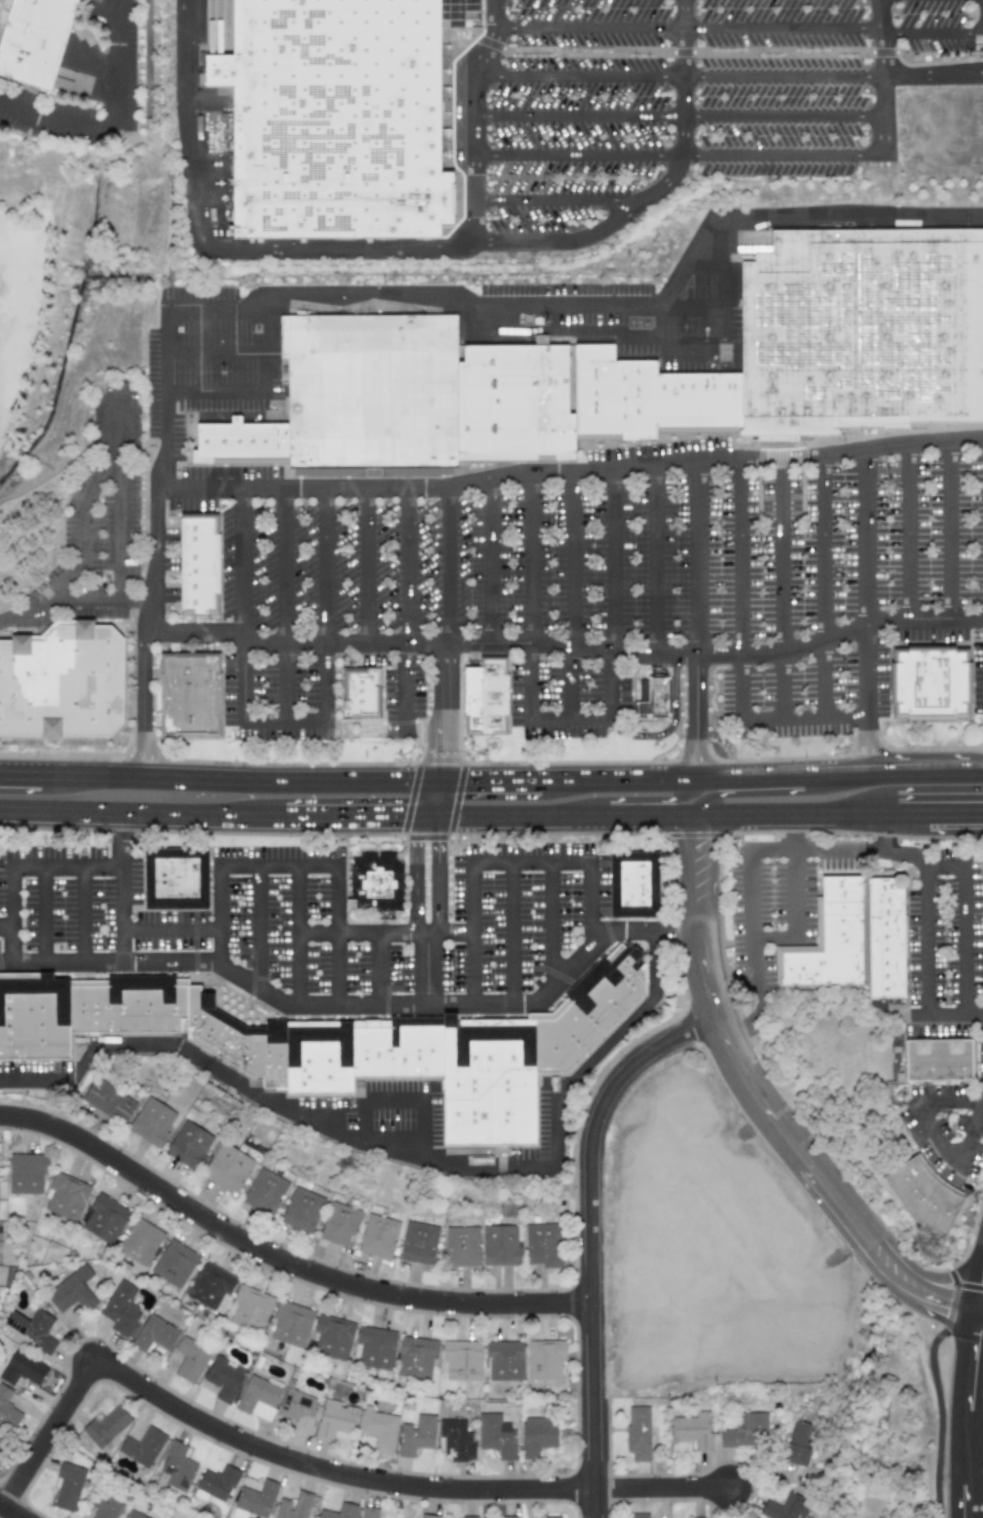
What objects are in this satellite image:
road: (591, 29)
road: (784, 29)
road: (947, 30)
building: (41, 44)
road: (114, 65)
road: (147, 65)
road: (934, 76)
road: (885, 77)
road: (681, 78)
road: (681, 117)
building: (338, 119)
road: (476, 119)
road: (51, 122)
road: (680, 155)
road: (659, 190)
road: (559, 201)
road: (170, 232)
road: (217, 249)
road: (727, 266)
road: (608, 307)
building: (861, 329)
road: (168, 332)
road: (541, 332)
road: (711, 349)
road: (218, 352)
road: (227, 392)
building: (372, 392)
building: (648, 397)
building: (515, 400)
road: (110, 433)
building: (244, 440)
road: (571, 474)
road: (83, 526)
road: (951, 528)
road: (910, 529)
road: (123, 534)
road: (868, 538)
road: (656, 560)
road: (492, 561)
building: (196, 564)
road: (450, 565)
road: (369, 566)
road: (824, 584)
road: (784, 586)
road: (533, 596)
road: (574, 596)
road: (72, 599)
road: (286, 604)
road: (244, 605)
road: (149, 608)
road: (409, 612)
road: (698, 615)
road: (615, 635)
road: (566, 644)
road: (327, 646)
road: (743, 652)
building: (62, 684)
building: (931, 684)
building: (360, 694)
building: (189, 696)
building: (490, 696)
building: (660, 697)
road: (868, 699)
road: (446, 705)
road: (673, 726)
road: (418, 729)
traffic signals: (444, 751)
road: (21, 761)
road: (241, 767)
traffic signals: (476, 768)
road: (491, 768)
road: (705, 768)
road: (918, 773)
road: (975, 773)
road: (761, 793)
road: (433, 799)
road: (635, 802)
road: (933, 827)
road: (981, 827)
road: (981, 827)
road: (132, 829)
road: (656, 829)
road: (346, 831)
traffic signals: (401, 831)
traffic signals: (438, 848)
road: (532, 861)
road: (68, 865)
road: (230, 866)
building: (178, 878)
road: (416, 881)
road: (437, 881)
building: (379, 883)
road: (796, 883)
building: (638, 884)
road: (123, 895)
road: (751, 896)
road: (82, 913)
road: (12, 914)
road: (45, 914)
road: (337, 916)
road: (551, 924)
road: (256, 926)
road: (6, 928)
road: (471, 930)
road: (647, 930)
road: (171, 931)
road: (384, 931)
road: (511, 931)
road: (298, 933)
road: (774, 938)
building: (891, 938)
building: (833, 940)
road: (377, 966)
road: (427, 966)
road: (965, 987)
road: (344, 1002)
building: (592, 1011)
road: (974, 1018)
building: (215, 1032)
building: (942, 1060)
building: (491, 1083)
road: (402, 1097)
road: (982, 1098)
building: (108, 1101)
road: (769, 1111)
building: (151, 1121)
road: (935, 1135)
building: (188, 1144)
road: (394, 1151)
building: (227, 1168)
building: (26, 1172)
building: (264, 1192)
building: (65, 1196)
building: (929, 1196)
building: (301, 1210)
building: (104, 1218)
building: (339, 1224)
road: (979, 1235)
building: (378, 1236)
road: (590, 1236)
building: (138, 1241)
building: (418, 1243)
building: (542, 1244)
building: (499, 1245)
building: (461, 1246)
road: (280, 1258)
building: (173, 1263)
road: (937, 1273)
road: (968, 1279)
traffic signals: (968, 1279)
building: (209, 1285)
building: (72, 1290)
traffic signals: (944, 1303)
building: (120, 1308)
building: (248, 1308)
road: (981, 1308)
road: (981, 1311)
building: (290, 1324)
building: (31, 1328)
building: (154, 1334)
building: (332, 1337)
building: (374, 1347)
building: (415, 1357)
building: (190, 1359)
building: (543, 1359)
building: (461, 1360)
building: (503, 1360)
building: (21, 1369)
building: (223, 1378)
building: (258, 1397)
building: (297, 1409)
building: (7, 1410)
road: (970, 1414)
building: (334, 1419)
building: (106, 1426)
building: (378, 1428)
building: (692, 1430)
building: (745, 1431)
building: (637, 1432)
building: (416, 1434)
building: (495, 1435)
building: (536, 1435)
building: (456, 1439)
building: (798, 1443)
building: (2, 1444)
building: (141, 1446)
building: (176, 1468)
road: (315, 1468)
building: (216, 1483)
building: (69, 1486)
building: (254, 1500)
building: (103, 1504)
building: (294, 1506)
building: (785, 1507)
road: (10, 1511)
building: (339, 1511)
building: (368, 1512)
building: (132, 1515)
building: (638, 1515)
building: (427, 1516)
building: (552, 1516)
building: (468, 1517)
building: (508, 1517)

